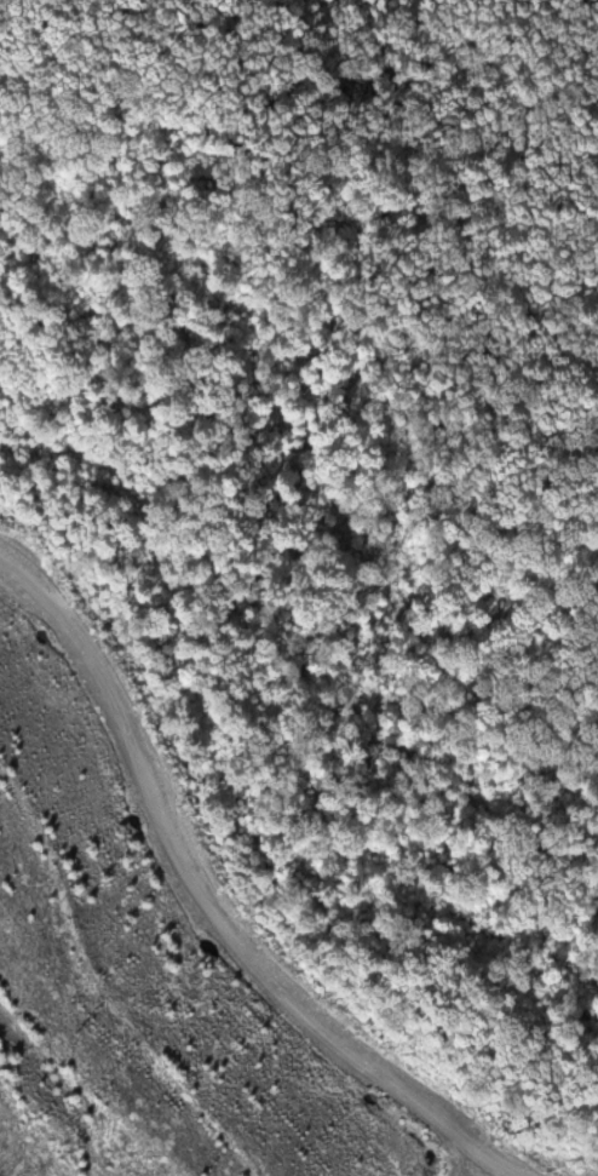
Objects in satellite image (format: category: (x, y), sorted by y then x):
road: (197, 899)

